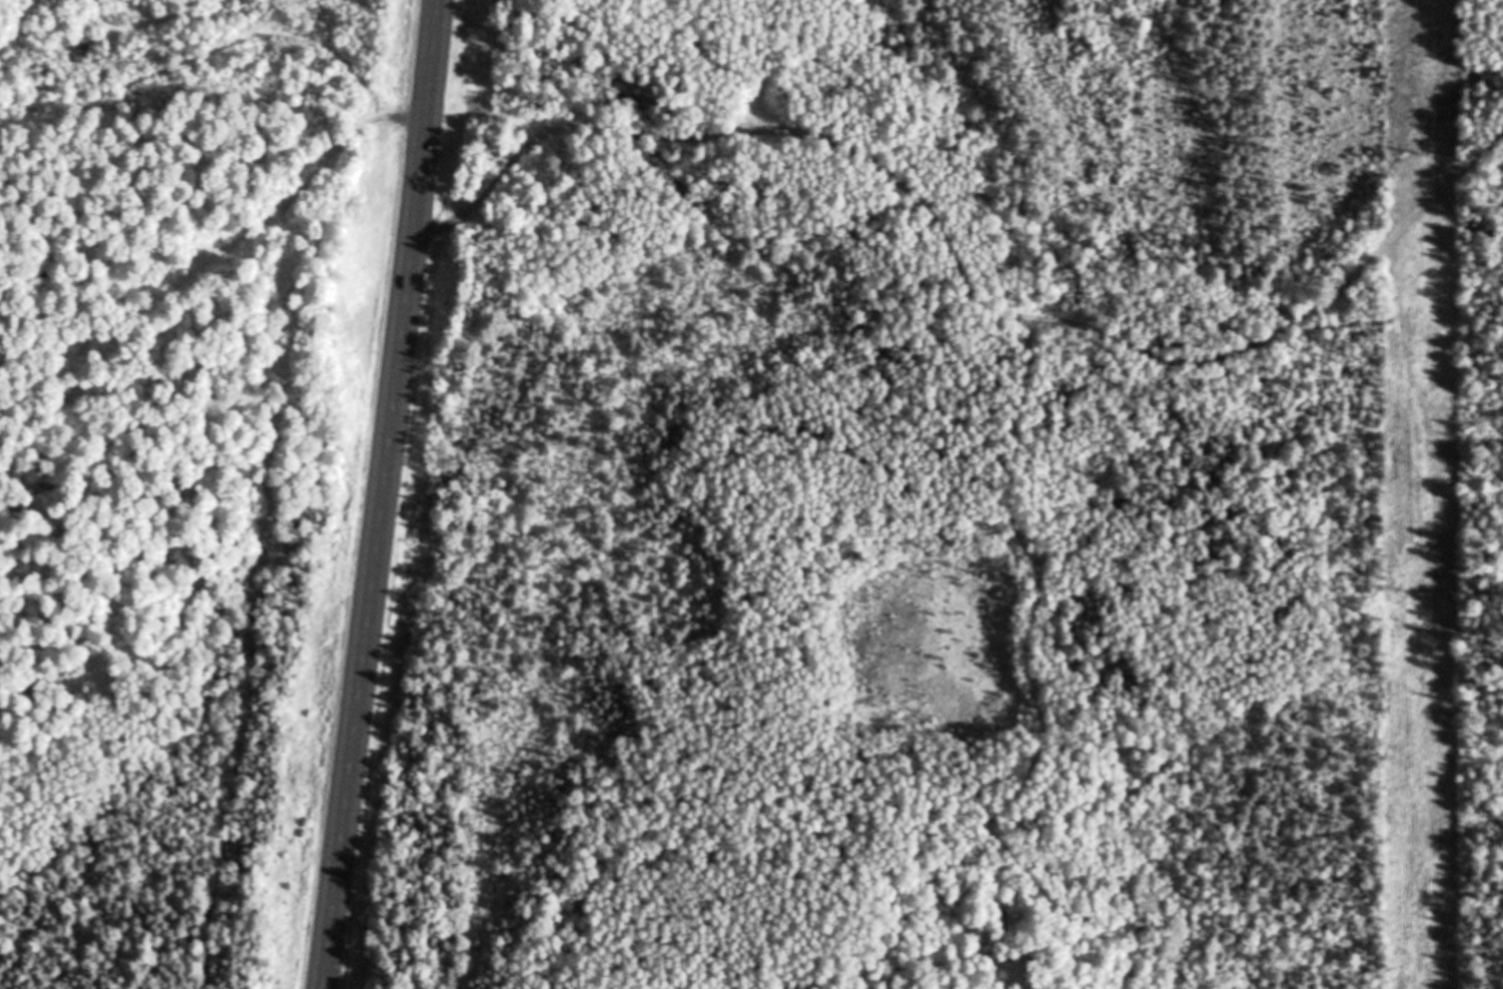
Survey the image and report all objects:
power tower: (1427, 160)
road: (956, 269)
road: (386, 494)
power tower: (1425, 594)

